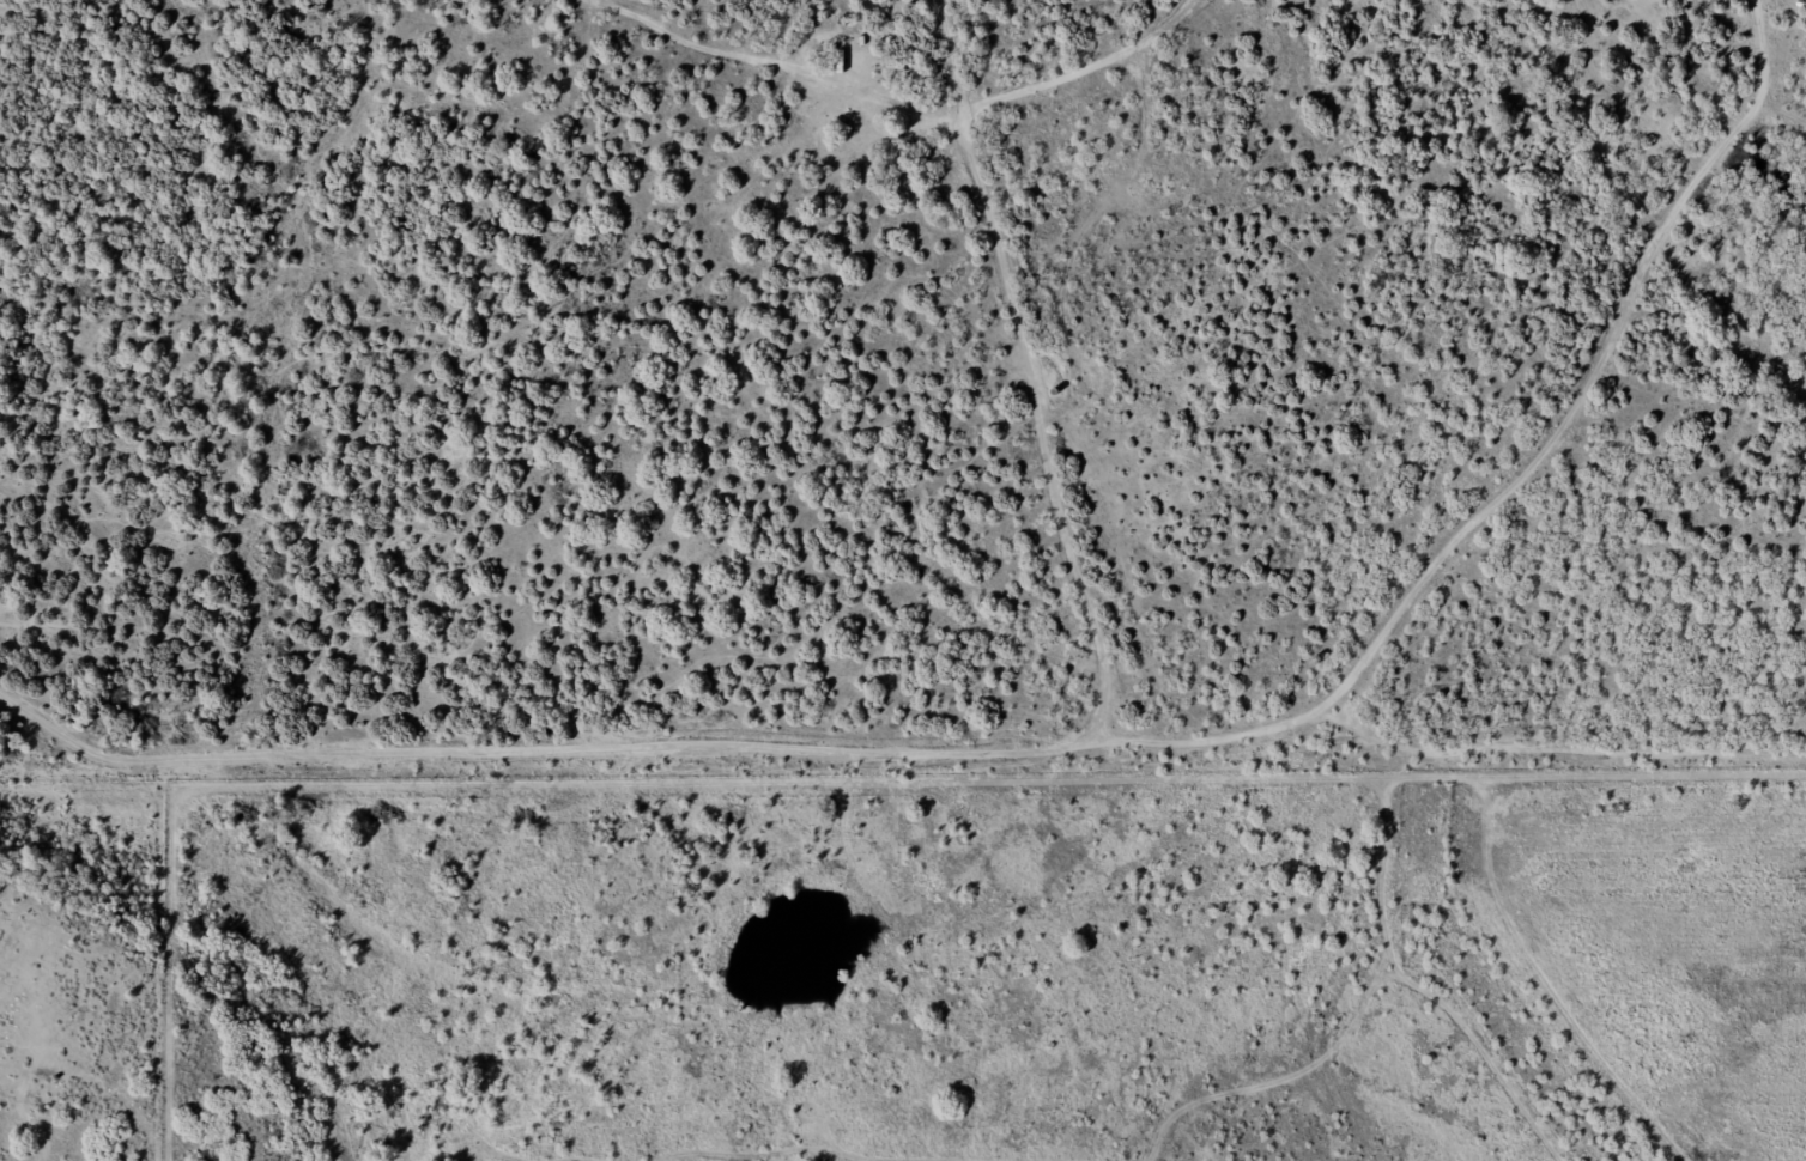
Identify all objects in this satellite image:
road: (1787, 123)
road: (1030, 376)
road: (1507, 427)
road: (883, 762)
road: (1349, 898)

